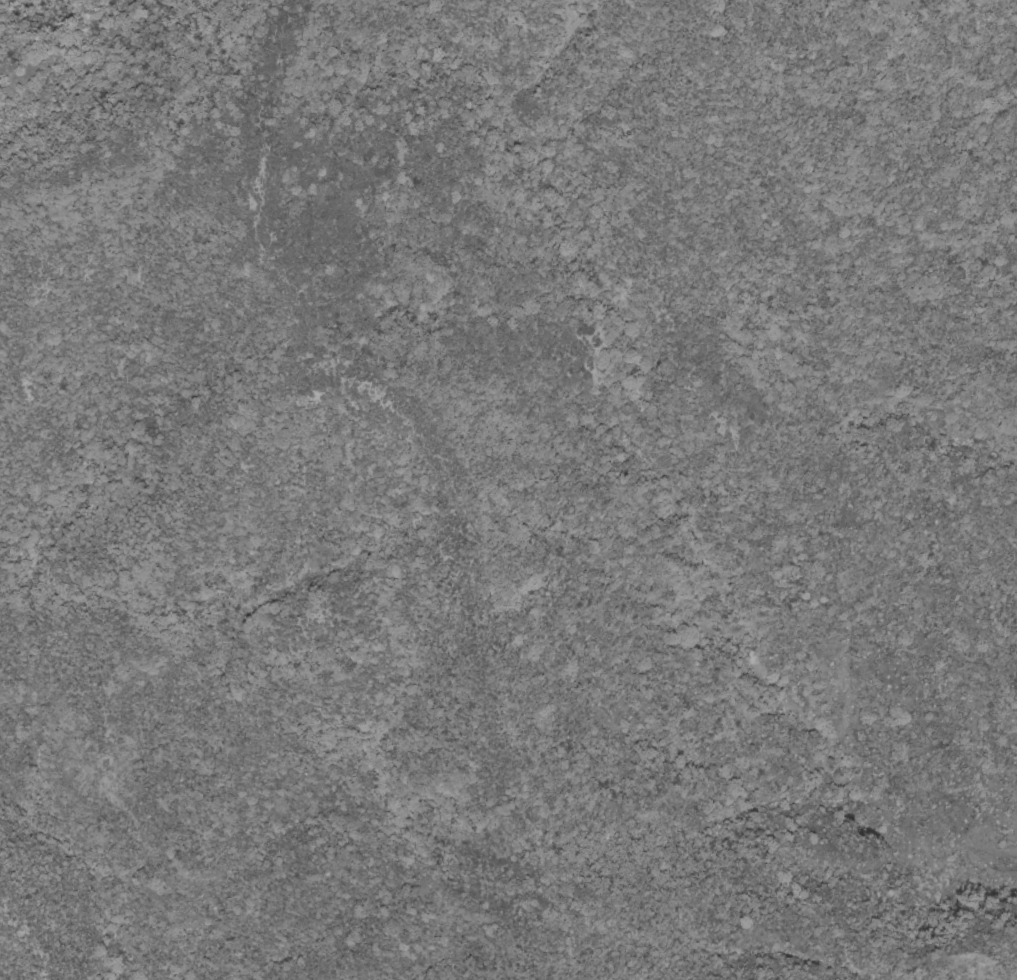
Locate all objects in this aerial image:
road: (410, 426)
road: (257, 641)
building: (493, 822)
storage tank: (493, 822)
road: (556, 908)
road: (607, 970)

